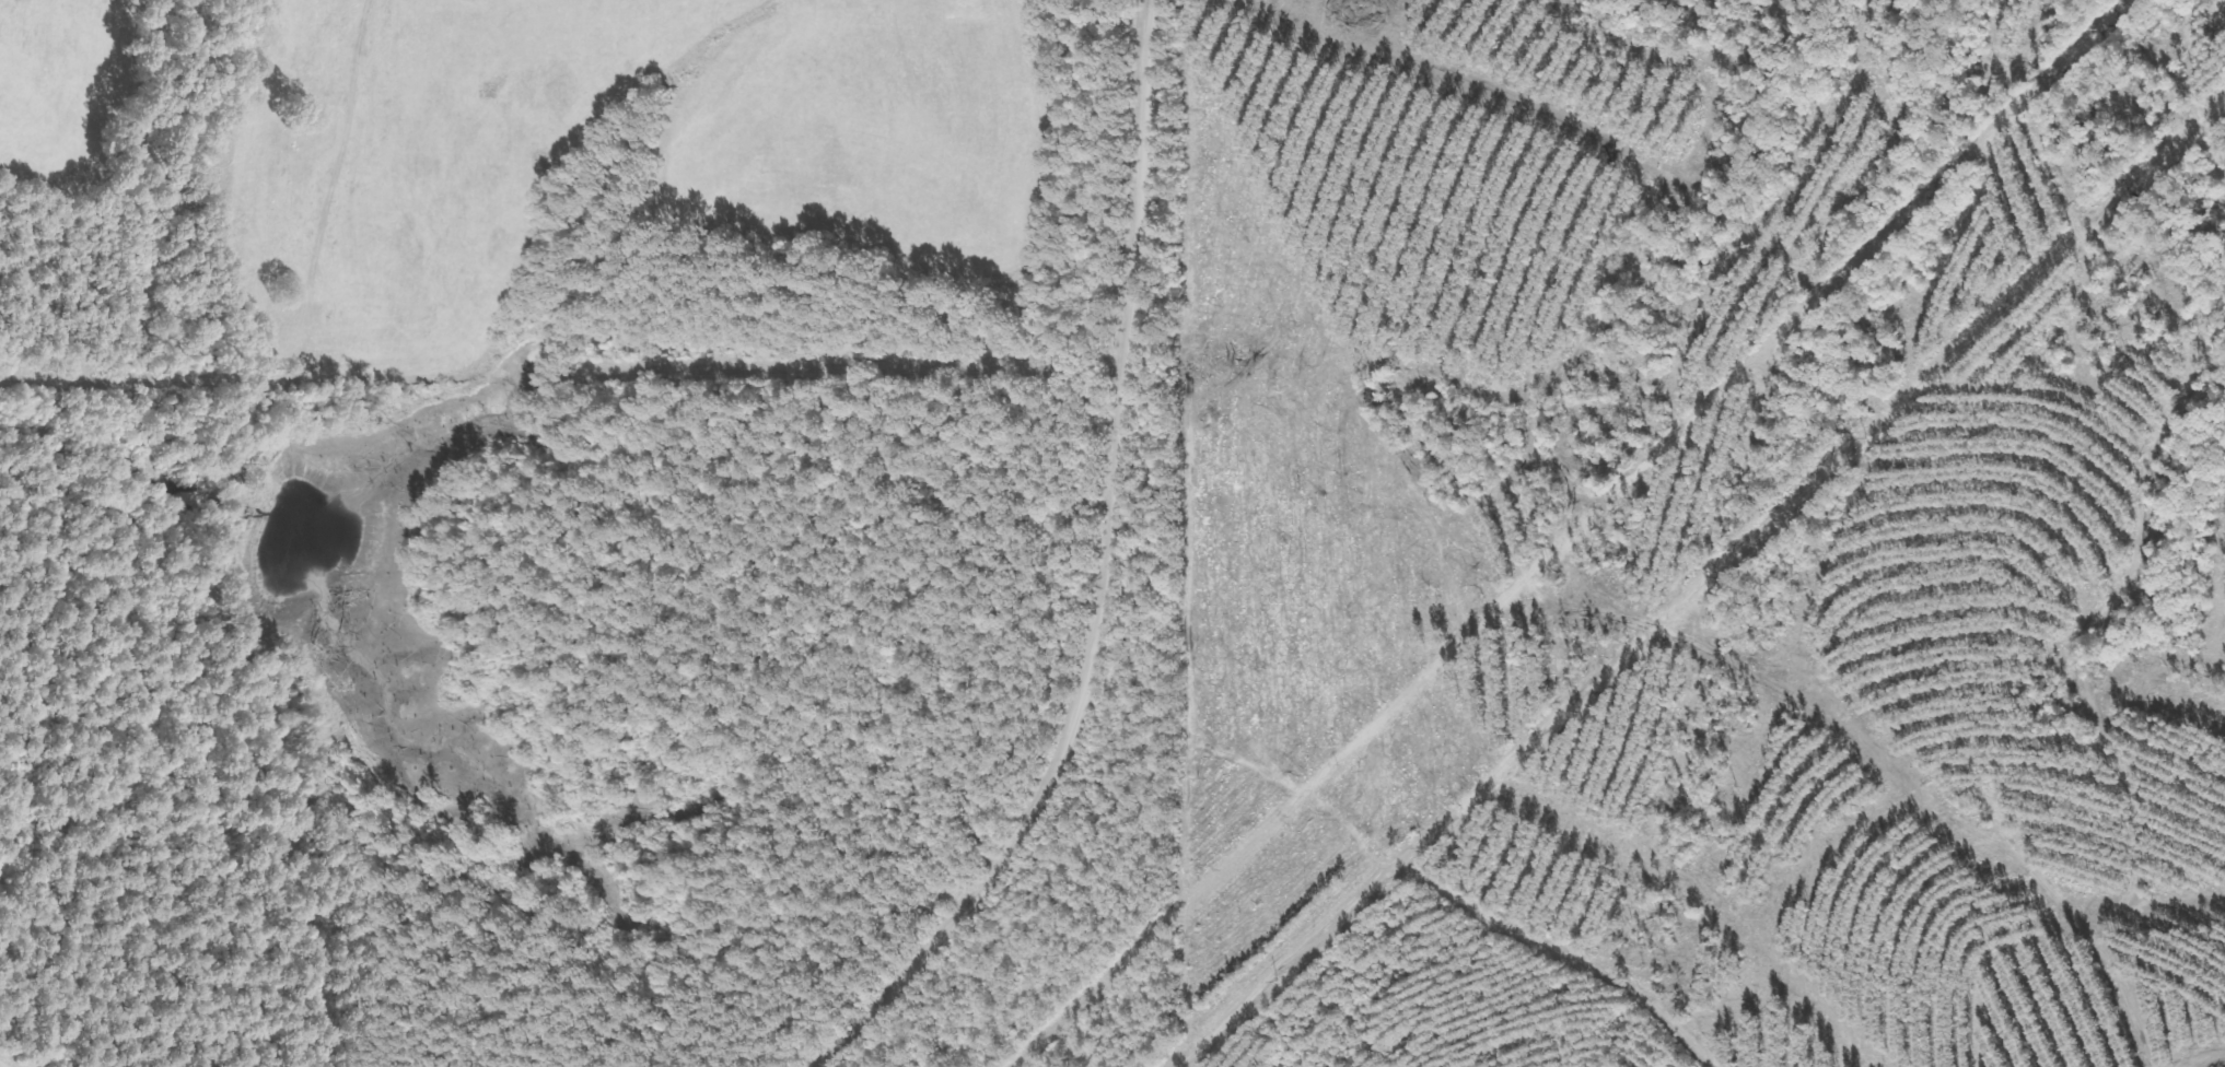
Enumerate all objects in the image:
road: (1109, 577)

